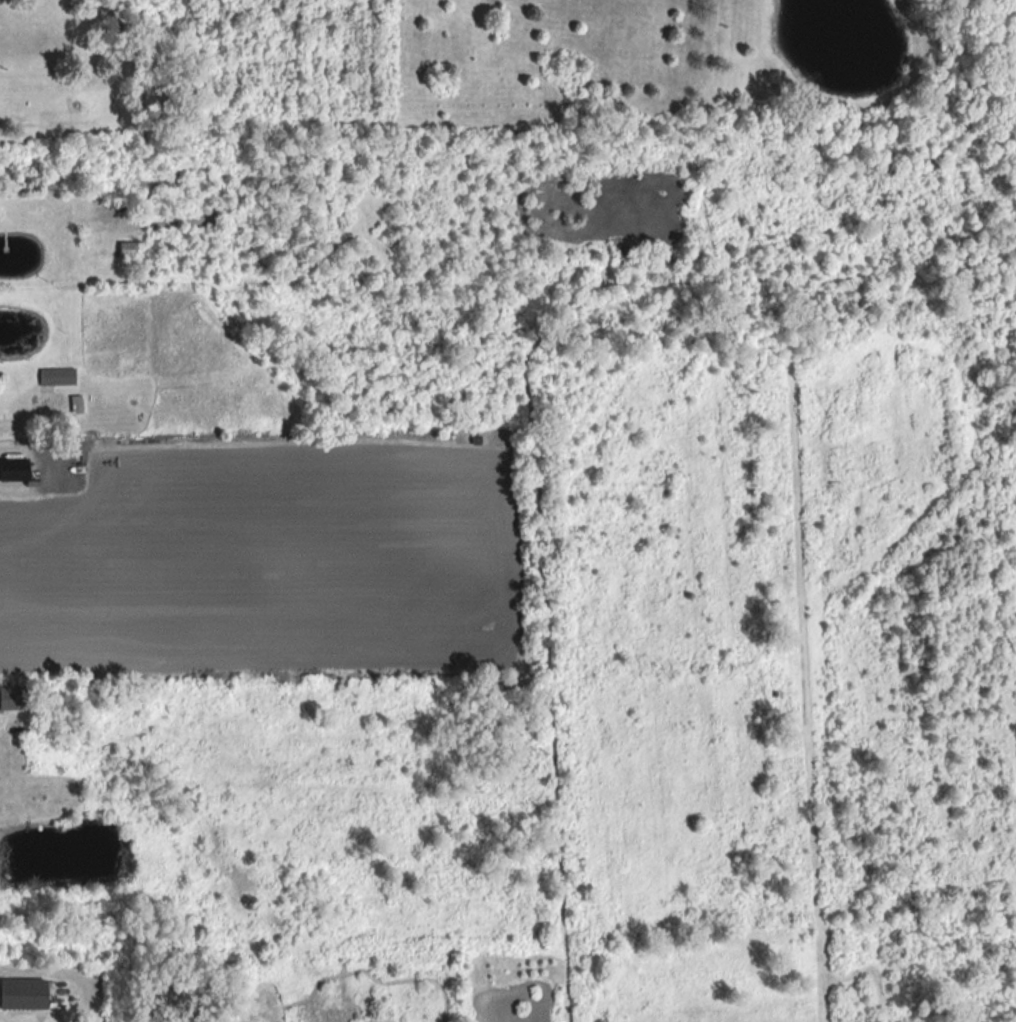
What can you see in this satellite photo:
building: (126, 248)
building: (55, 376)
building: (74, 404)
building: (11, 469)
crop: (266, 553)
building: (7, 700)

